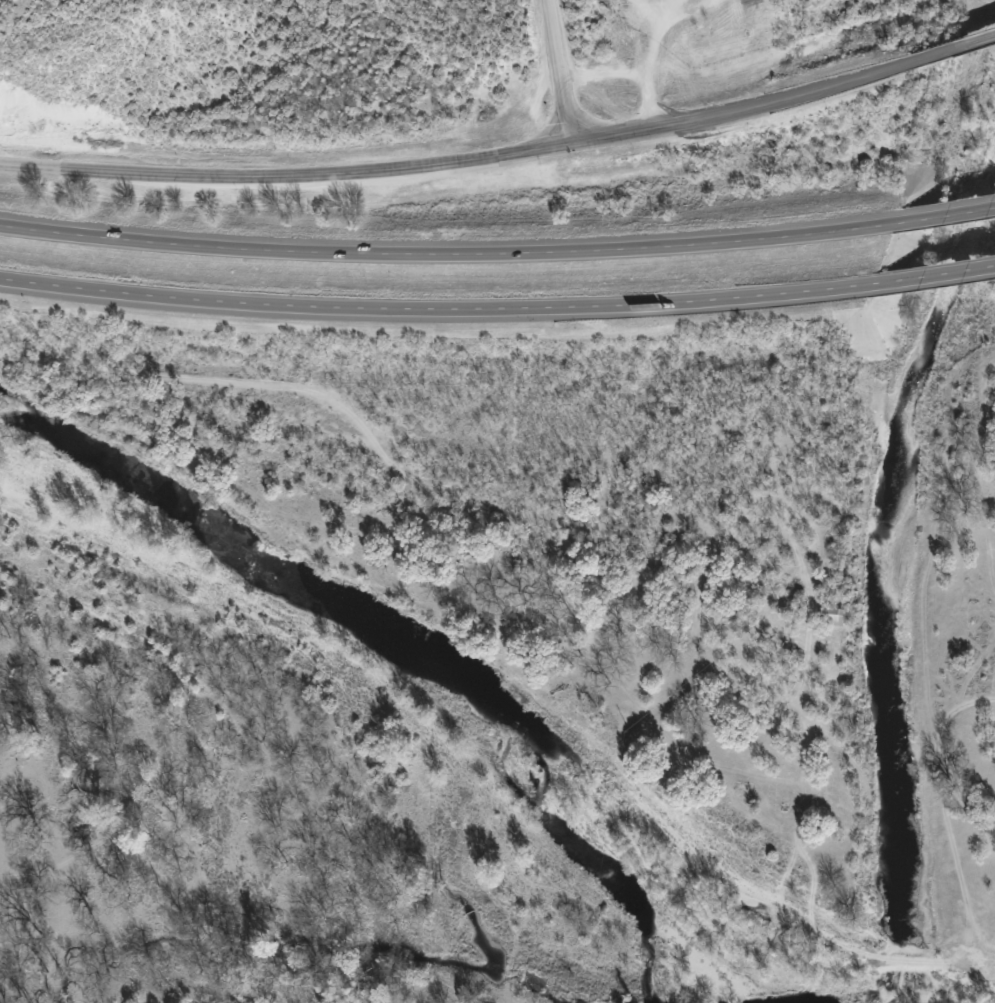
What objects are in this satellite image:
road: (952, 49)
road: (557, 73)
road: (740, 110)
road: (285, 177)
road: (942, 217)
road: (444, 253)
road: (935, 277)
road: (437, 313)
building: (832, 616)
river: (418, 654)

